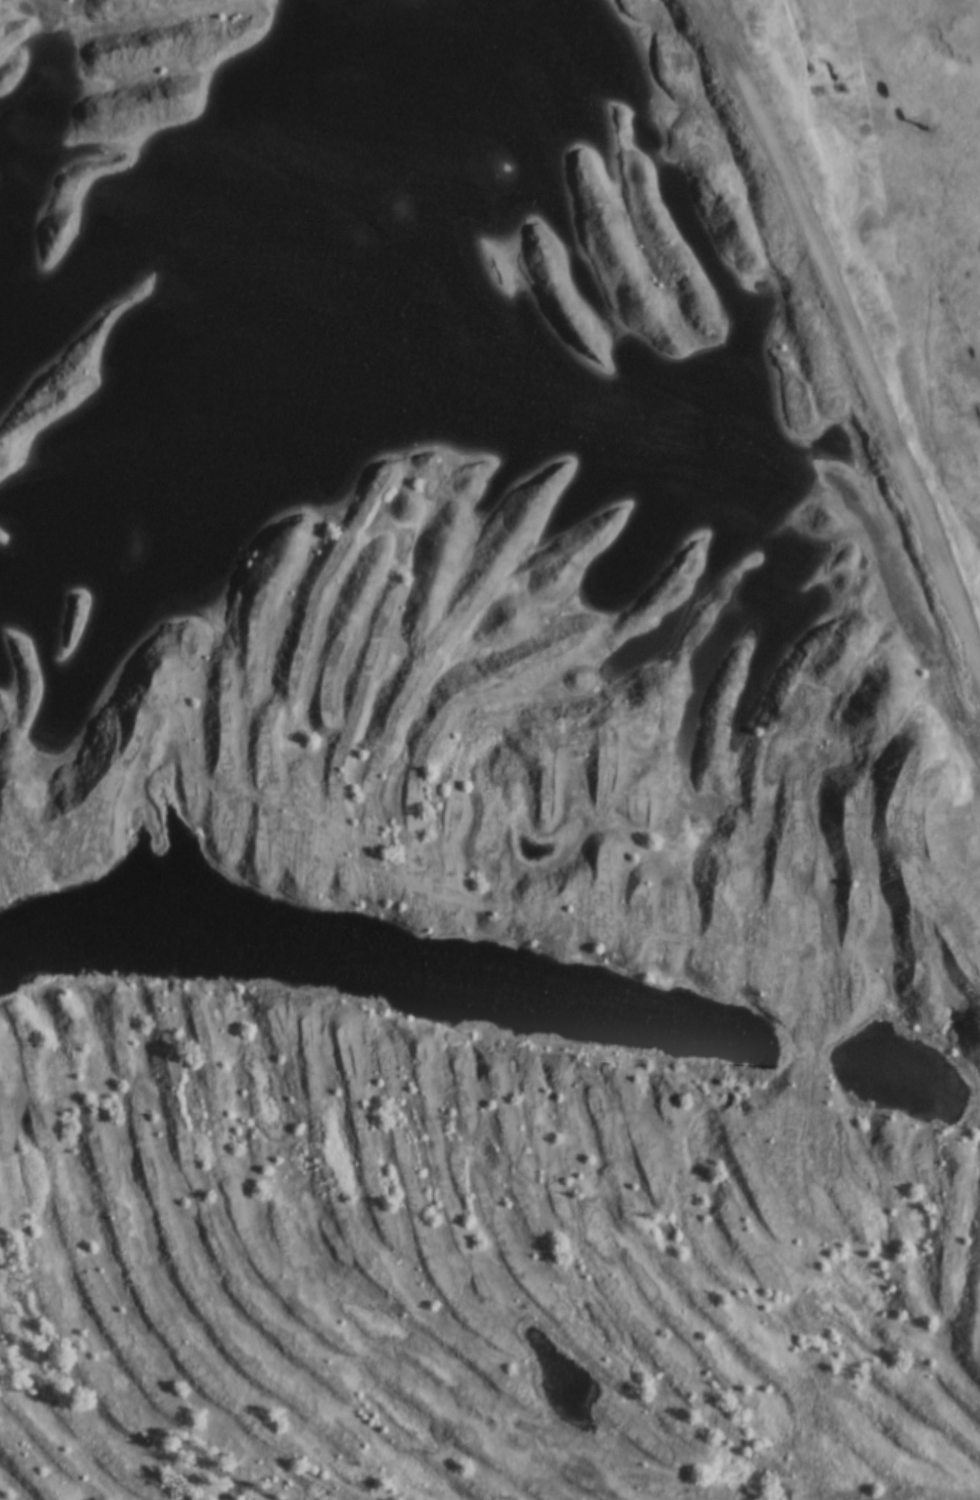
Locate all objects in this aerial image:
road: (847, 328)
quarry: (471, 775)

